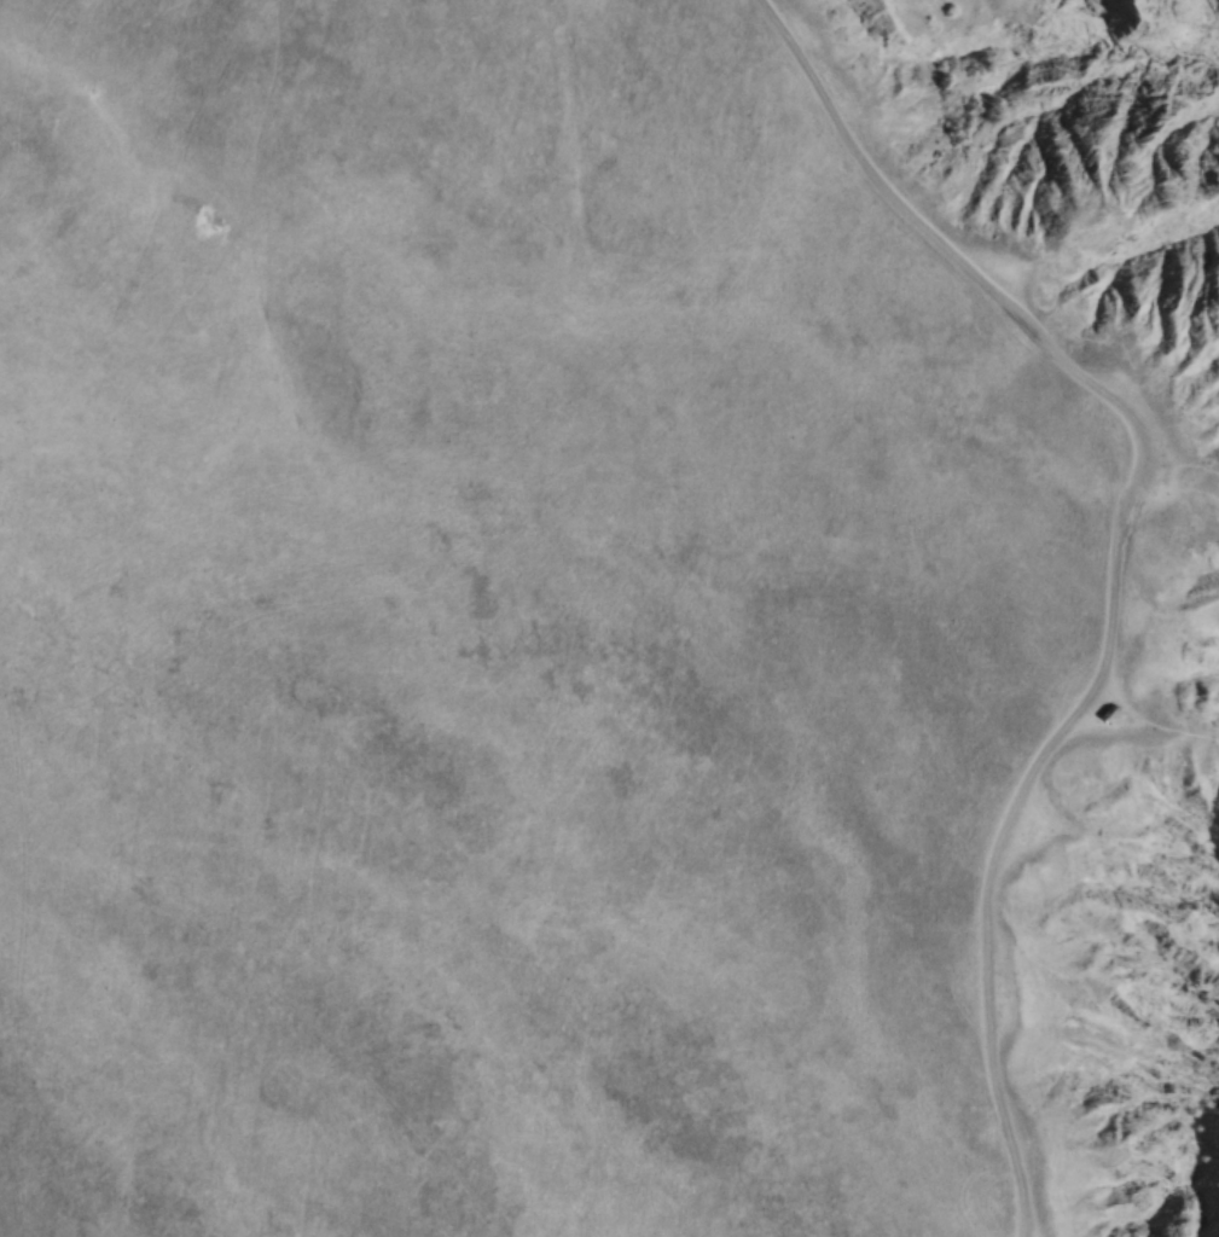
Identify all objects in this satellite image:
road: (1120, 558)

